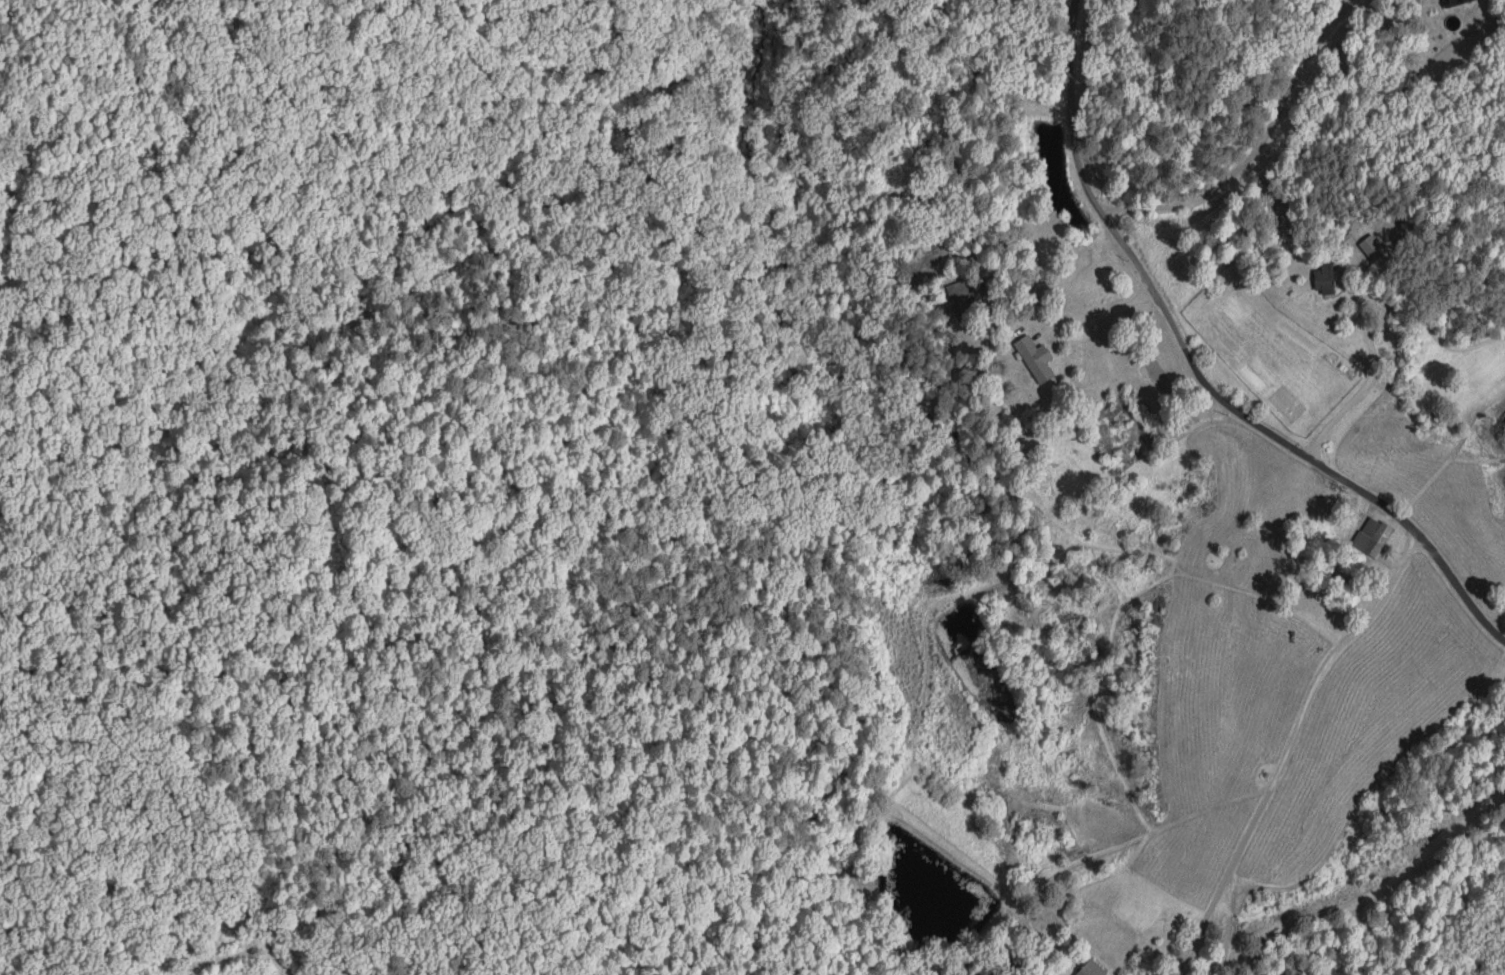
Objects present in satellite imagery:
building: (1455, 2)
road: (1470, 247)
building: (1324, 279)
building: (966, 294)
road: (1343, 353)
building: (1035, 359)
road: (1181, 393)
building: (1372, 537)
building: (1089, 969)

